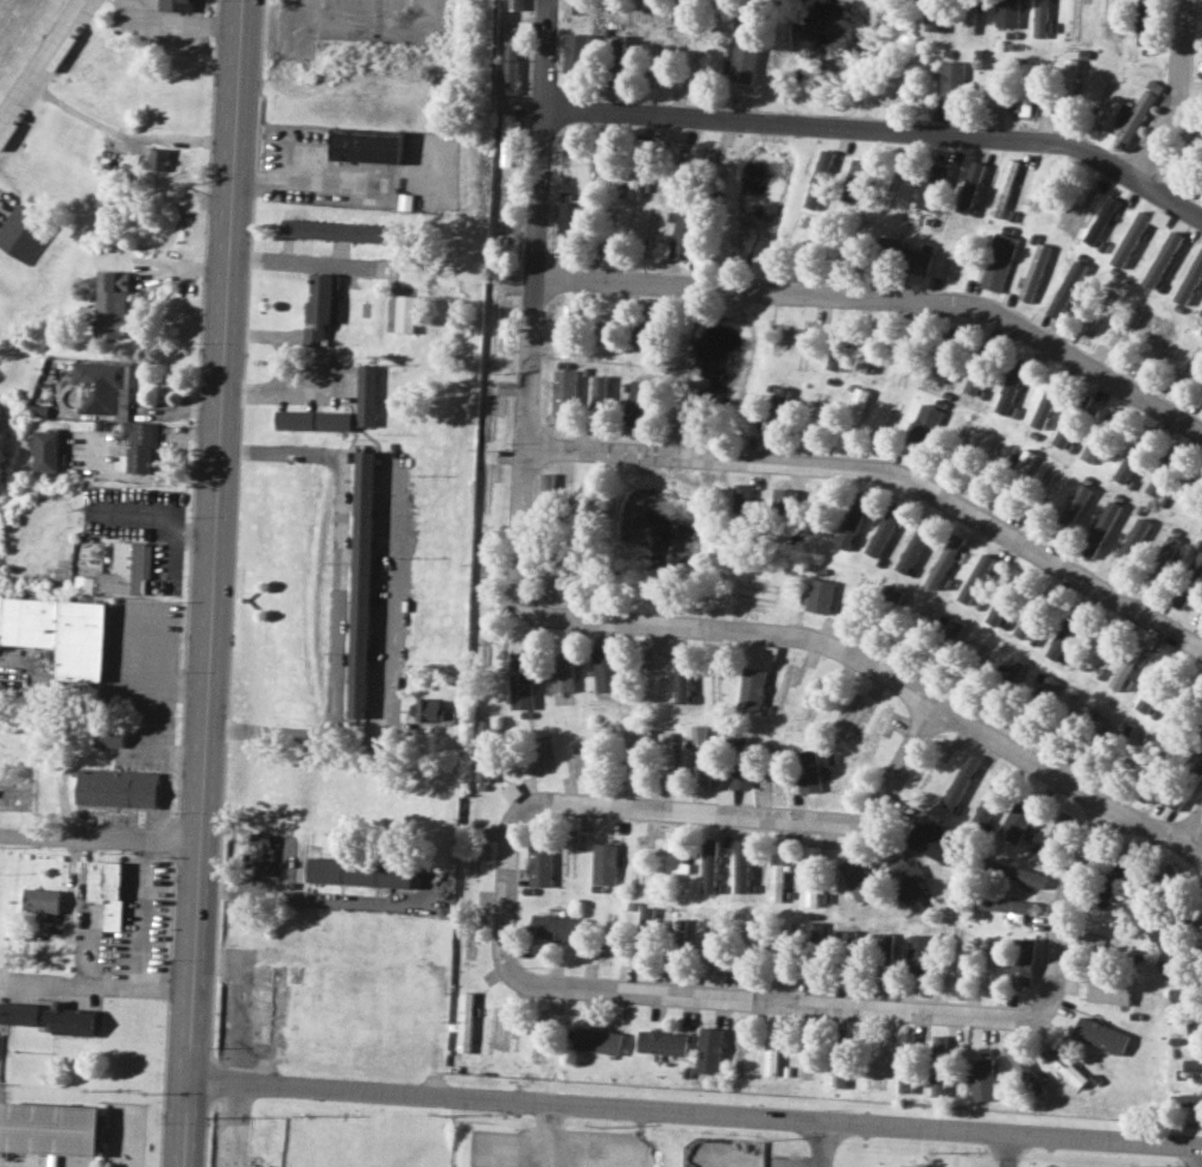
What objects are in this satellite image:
building: (177, 5)
building: (514, 5)
building: (574, 6)
building: (678, 8)
building: (931, 14)
building: (968, 17)
building: (1040, 18)
road: (328, 21)
road: (404, 23)
building: (745, 23)
building: (1144, 23)
road: (182, 24)
building: (619, 45)
building: (576, 52)
building: (744, 63)
road: (45, 70)
building: (565, 78)
building: (951, 83)
building: (1067, 88)
building: (1024, 93)
road: (1178, 93)
road: (1190, 100)
building: (1127, 120)
road: (880, 128)
building: (507, 138)
road: (129, 140)
building: (365, 144)
building: (639, 147)
building: (157, 158)
building: (820, 179)
building: (855, 180)
road: (305, 182)
building: (633, 184)
building: (931, 185)
building: (969, 186)
building: (1004, 186)
building: (568, 214)
building: (1159, 217)
building: (1100, 221)
building: (339, 230)
building: (817, 233)
building: (23, 234)
building: (685, 234)
building: (1130, 239)
building: (903, 254)
building: (1163, 259)
building: (998, 261)
road: (300, 264)
building: (1033, 272)
building: (1190, 280)
road: (886, 299)
building: (113, 303)
road: (536, 303)
building: (317, 307)
building: (404, 312)
building: (1201, 313)
building: (568, 315)
building: (782, 335)
building: (839, 343)
building: (863, 356)
road: (284, 366)
building: (937, 369)
building: (974, 380)
building: (101, 388)
building: (564, 391)
building: (1008, 391)
building: (601, 393)
building: (365, 394)
building: (1046, 401)
building: (855, 405)
building: (773, 410)
building: (1112, 417)
building: (311, 419)
building: (924, 423)
building: (1065, 429)
building: (138, 444)
building: (1090, 449)
building: (45, 451)
building: (1024, 461)
building: (1130, 463)
road: (887, 468)
building: (1162, 474)
building: (546, 488)
building: (783, 500)
building: (741, 502)
building: (1074, 505)
road: (160, 514)
building: (848, 528)
building: (1100, 528)
building: (1201, 528)
building: (881, 532)
road: (339, 537)
building: (1128, 544)
building: (915, 545)
building: (105, 550)
building: (1164, 553)
building: (943, 559)
building: (125, 569)
building: (975, 578)
building: (82, 583)
road: (216, 583)
building: (359, 584)
building: (755, 596)
building: (821, 596)
building: (1004, 597)
building: (1025, 624)
building: (953, 630)
building: (57, 632)
building: (1094, 647)
road: (887, 668)
building: (1012, 670)
building: (562, 671)
building: (1121, 671)
building: (681, 676)
building: (521, 680)
road: (381, 684)
road: (144, 689)
building: (751, 689)
building: (1149, 695)
building: (428, 710)
building: (854, 716)
building: (71, 732)
building: (106, 735)
building: (1200, 742)
road: (157, 750)
building: (485, 750)
building: (701, 754)
building: (666, 757)
building: (739, 762)
building: (578, 766)
building: (806, 770)
building: (960, 781)
building: (114, 787)
building: (1170, 798)
building: (988, 799)
building: (1017, 820)
building: (1055, 836)
road: (101, 845)
building: (935, 845)
road: (1200, 845)
building: (260, 854)
building: (677, 855)
building: (606, 863)
building: (542, 864)
building: (741, 865)
road: (281, 868)
building: (777, 870)
building: (359, 871)
building: (1013, 871)
building: (858, 877)
building: (906, 877)
building: (1169, 879)
building: (1112, 881)
building: (103, 890)
road: (324, 899)
building: (38, 901)
building: (1002, 905)
road: (143, 918)
building: (646, 918)
building: (557, 927)
building: (1160, 931)
building: (814, 933)
building: (1093, 939)
building: (711, 945)
building: (884, 946)
building: (919, 953)
building: (1020, 962)
building: (1171, 962)
road: (112, 988)
road: (580, 989)
building: (1107, 991)
building: (1182, 994)
building: (17, 1013)
building: (67, 1019)
building: (466, 1021)
building: (1100, 1034)
building: (597, 1040)
building: (662, 1042)
building: (714, 1053)
building: (770, 1054)
building: (905, 1061)
building: (1061, 1064)
building: (1191, 1064)
building: (937, 1065)
building: (1023, 1067)
building: (836, 1074)
building: (981, 1078)
building: (1190, 1099)
road: (698, 1114)
road: (235, 1125)
building: (49, 1129)
road: (552, 1136)
road: (820, 1144)
road: (1004, 1149)
road: (1198, 1156)

